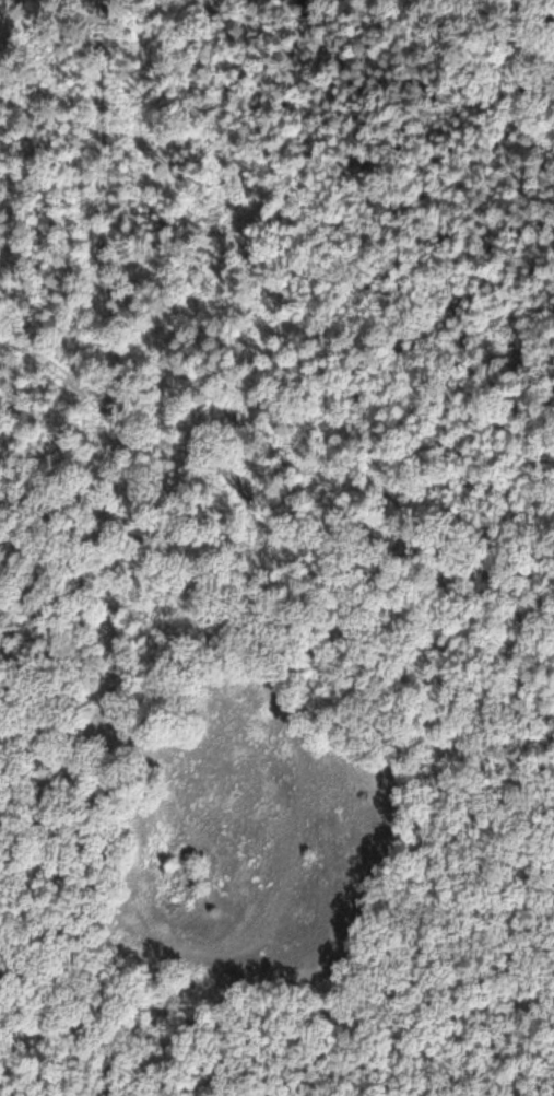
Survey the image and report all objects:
road: (549, 4)
road: (155, 1003)

